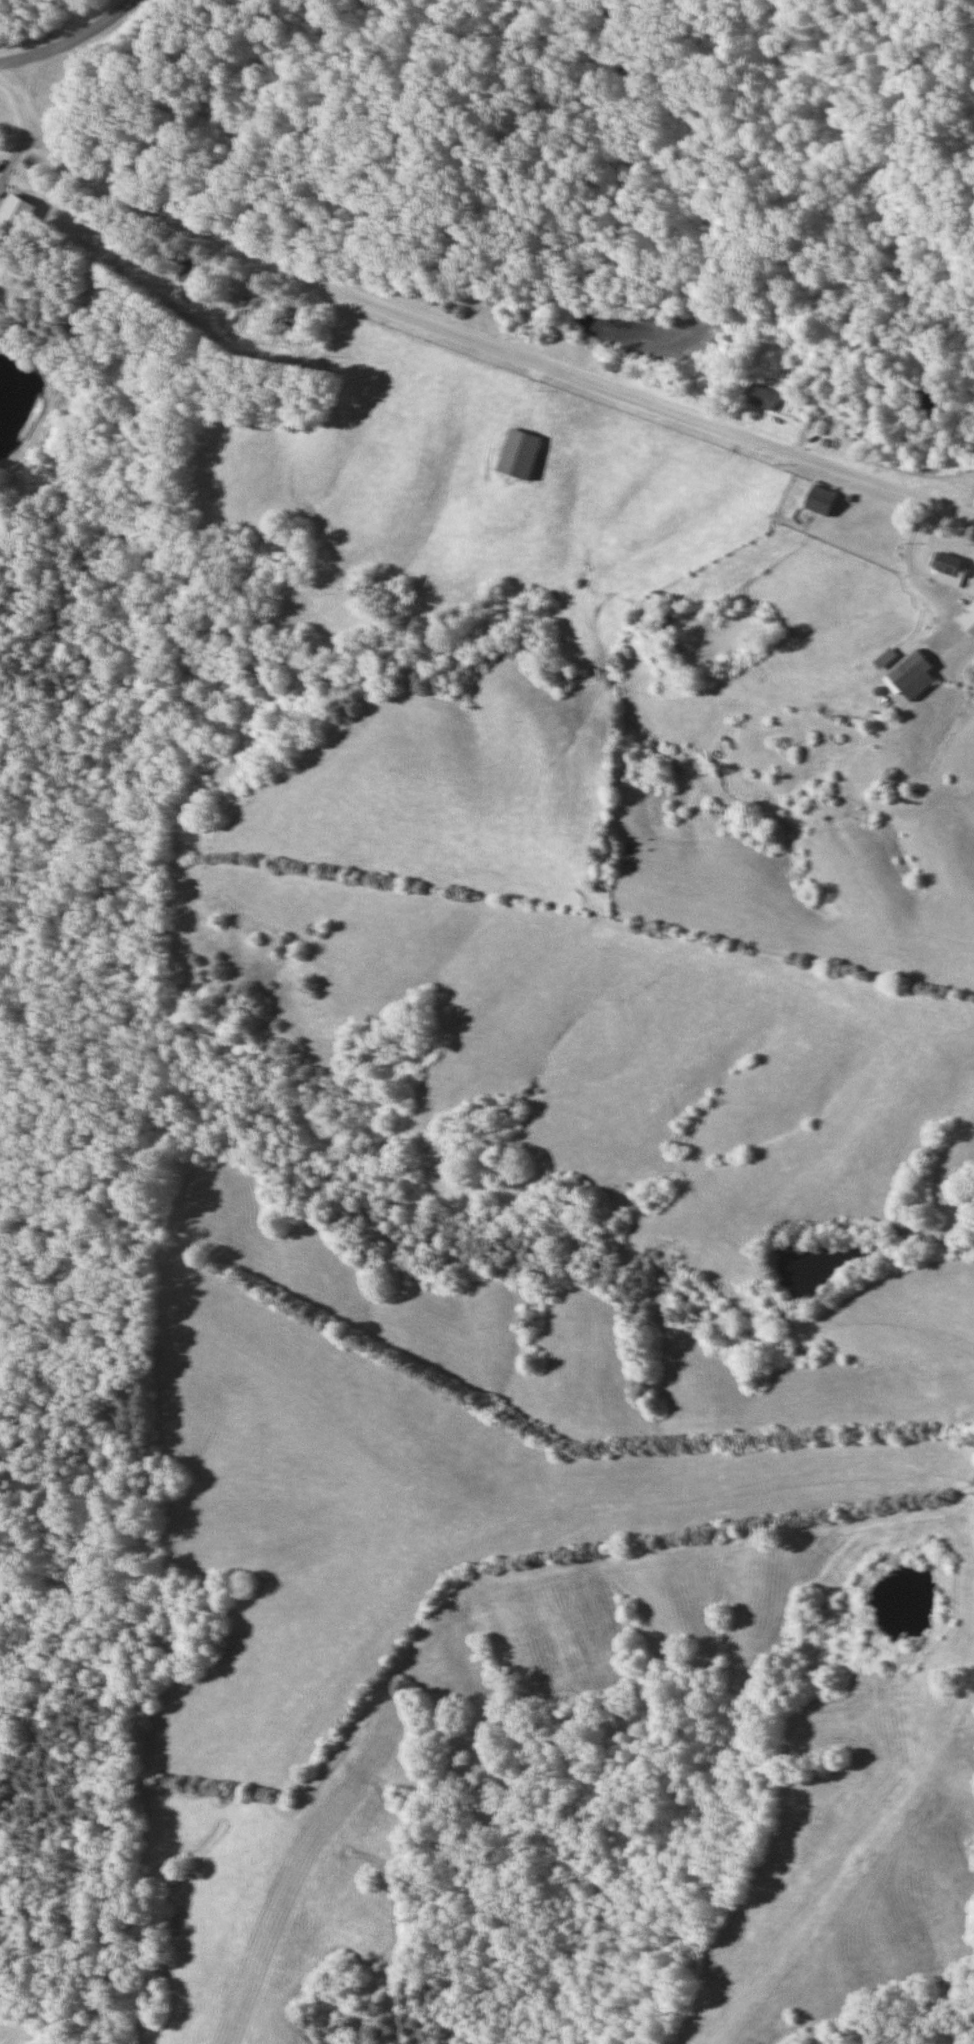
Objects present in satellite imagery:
road: (30, 8)
road: (57, 29)
road: (65, 40)
road: (18, 149)
building: (190, 276)
road: (465, 326)
building: (759, 398)
building: (516, 454)
building: (818, 500)
building: (946, 570)
road: (939, 592)
building: (910, 676)

